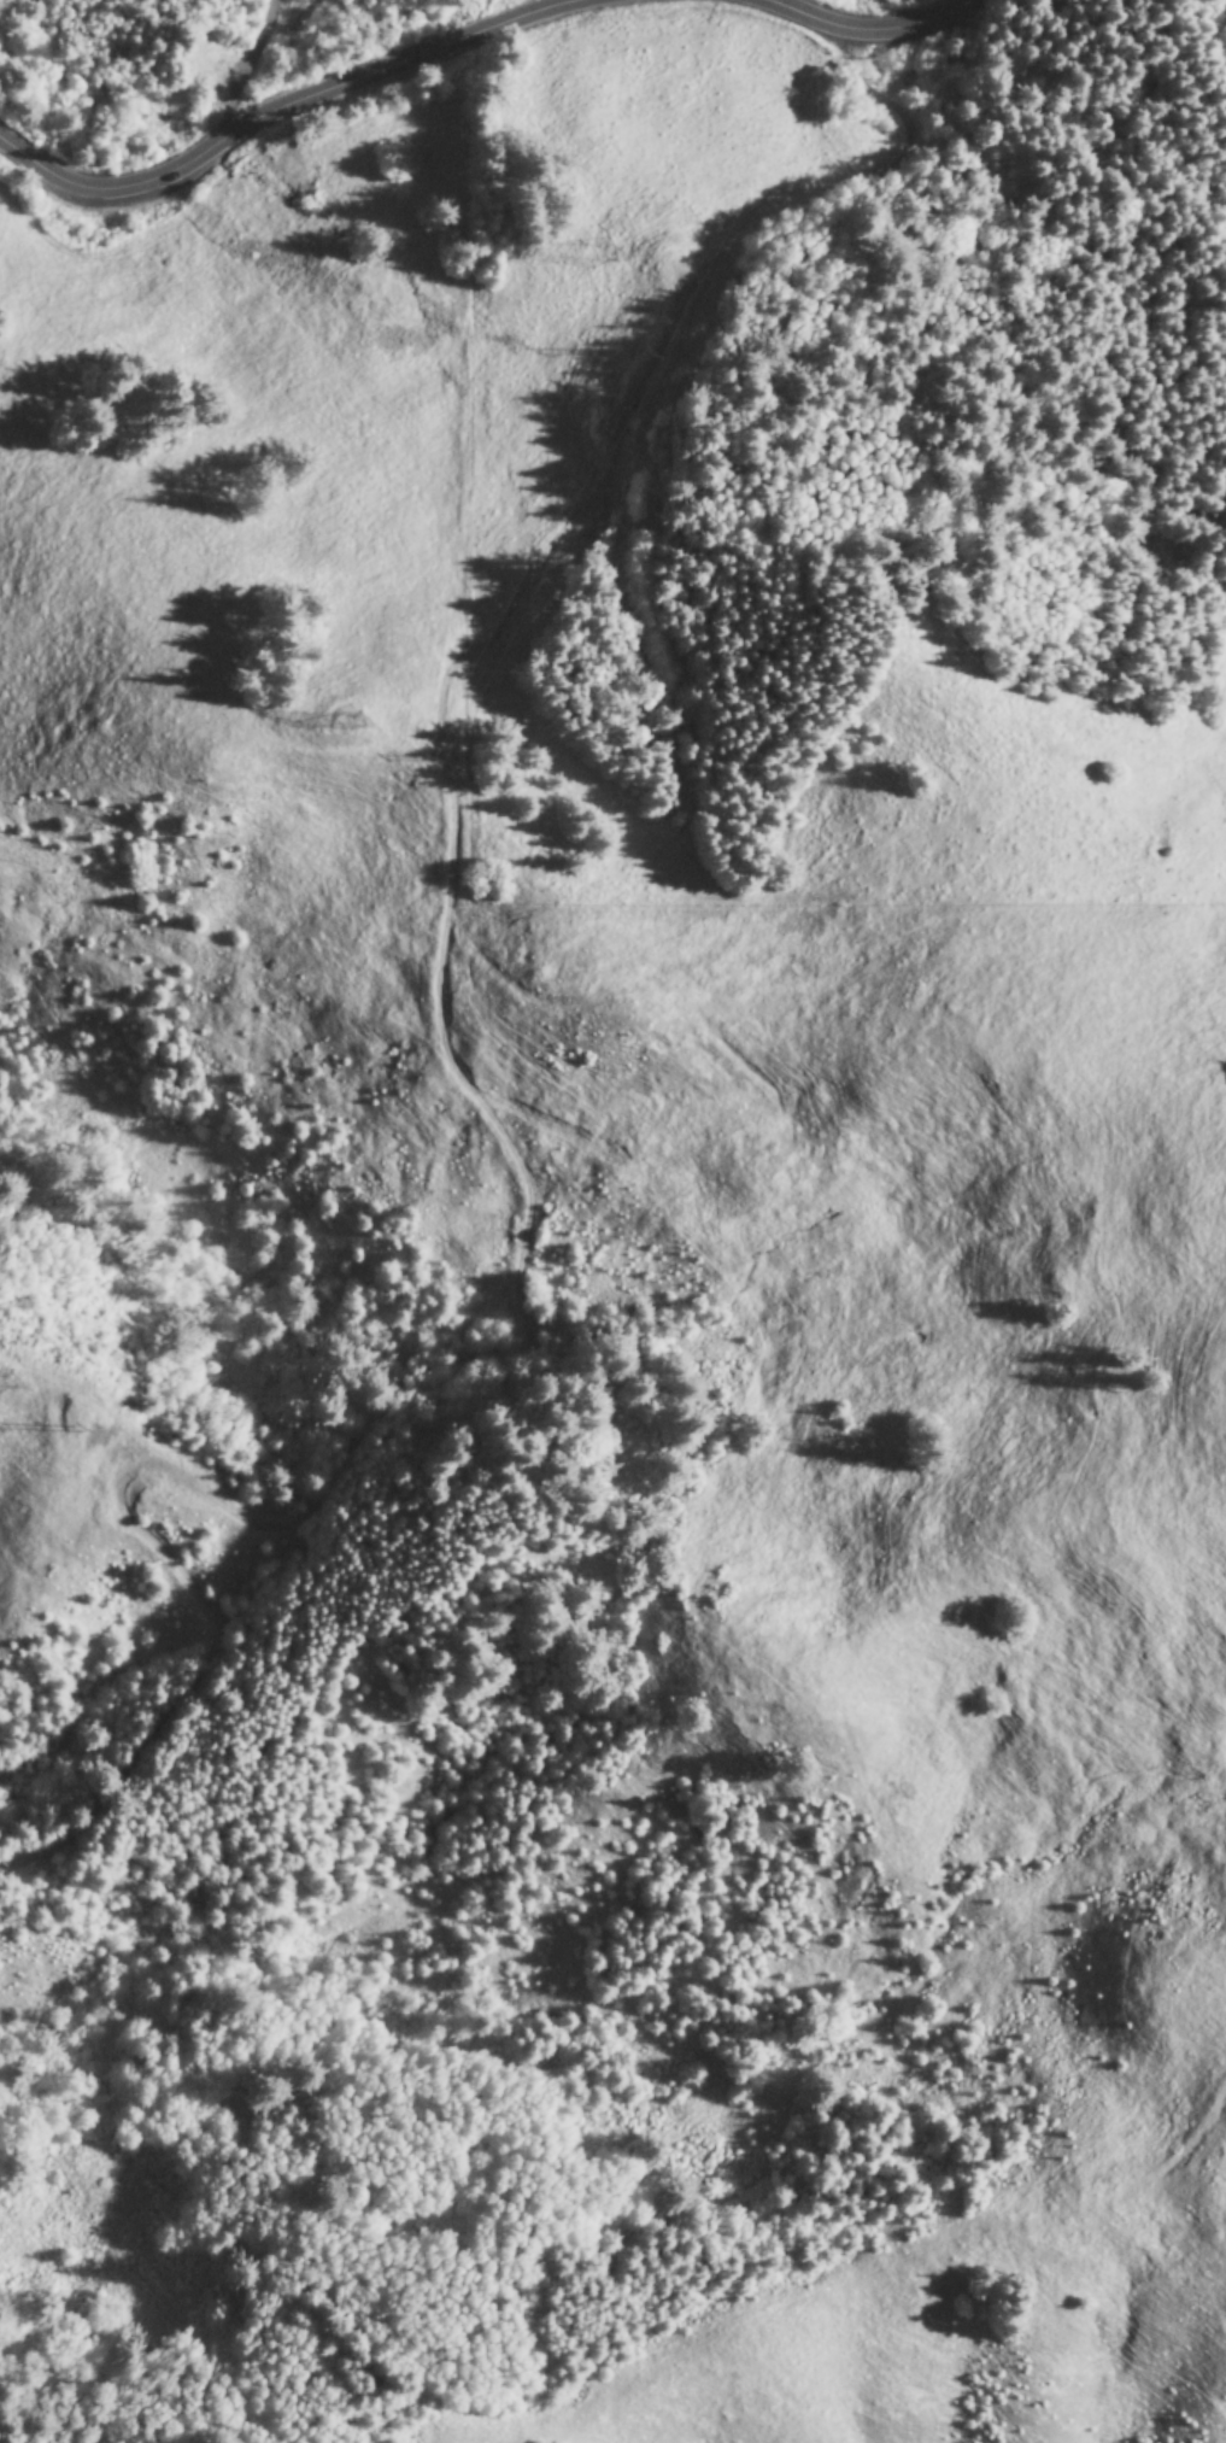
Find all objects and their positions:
road: (853, 33)
road: (286, 104)
power tower: (598, 256)
power tower: (347, 725)
power tower: (0, 1387)

